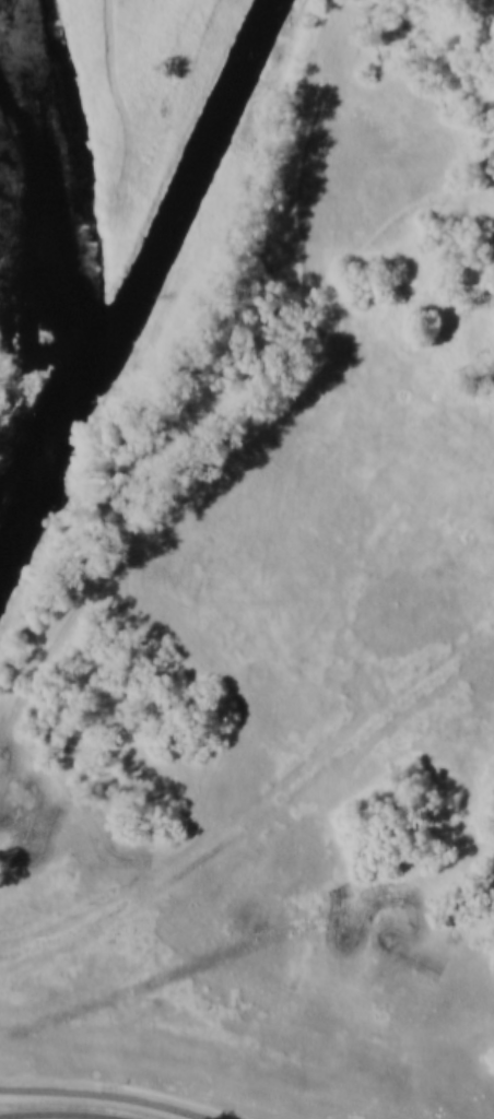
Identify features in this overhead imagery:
road: (119, 98)
park: (78, 161)
river: (48, 176)
river: (154, 264)
road: (105, 1096)
road: (74, 1118)

